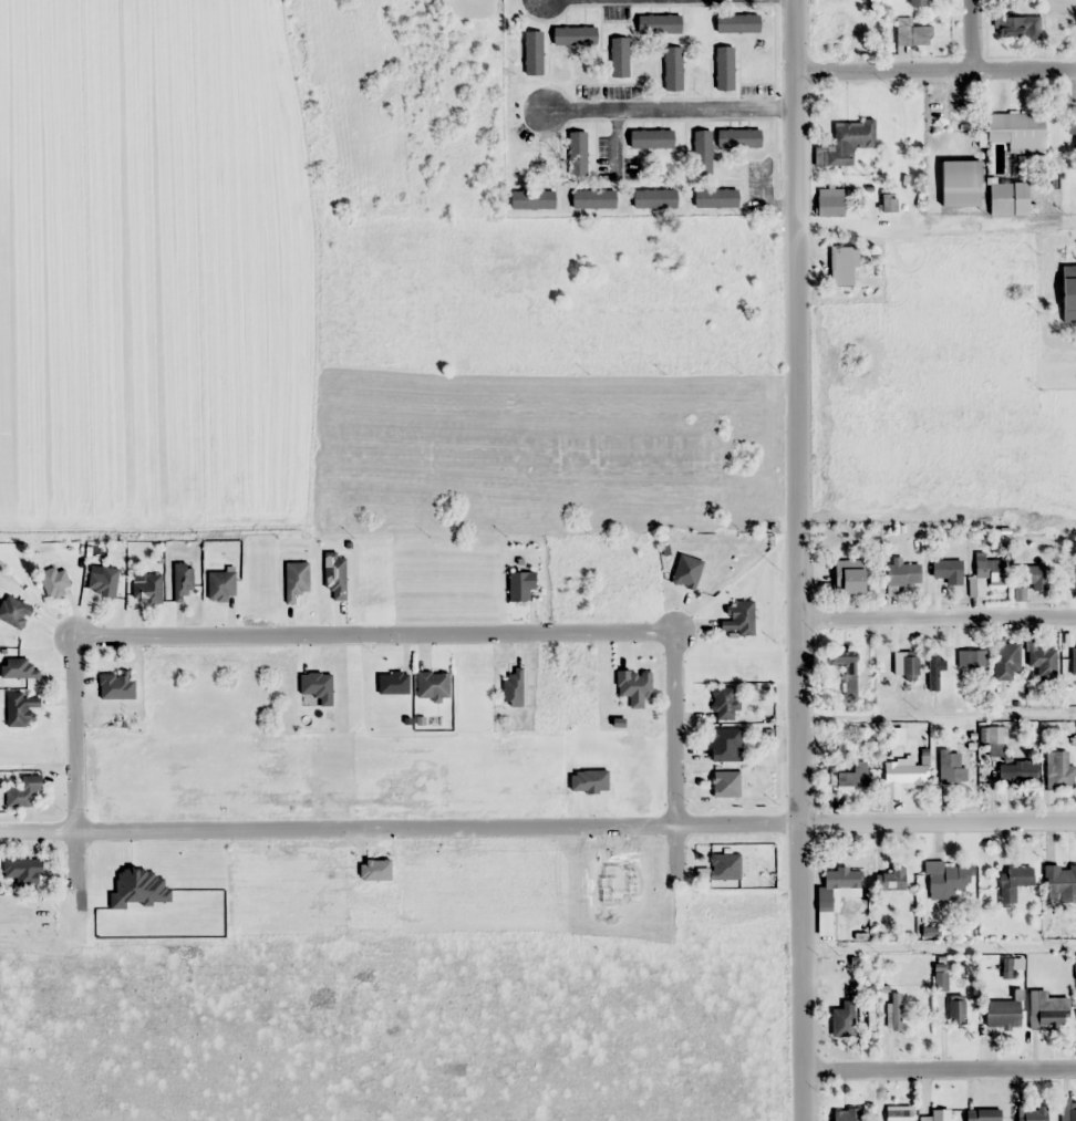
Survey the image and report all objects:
building: (918, 2)
building: (841, 17)
building: (1058, 21)
building: (738, 23)
building: (660, 24)
building: (1016, 25)
building: (910, 32)
building: (576, 35)
road: (972, 35)
building: (534, 52)
building: (620, 56)
building: (725, 68)
building: (674, 69)
road: (934, 71)
building: (1016, 131)
building: (1072, 134)
building: (739, 137)
building: (652, 139)
building: (844, 142)
building: (703, 150)
building: (578, 153)
building: (958, 181)
building: (1006, 197)
building: (655, 198)
building: (716, 198)
building: (534, 199)
building: (594, 199)
building: (828, 201)
building: (886, 201)
building: (839, 264)
building: (1067, 287)
road: (796, 560)
building: (1074, 561)
building: (989, 569)
building: (902, 570)
building: (946, 570)
building: (685, 571)
building: (335, 575)
building: (847, 575)
building: (1033, 575)
building: (297, 580)
building: (103, 581)
building: (183, 581)
building: (54, 582)
building: (221, 584)
building: (521, 585)
building: (148, 589)
building: (14, 612)
building: (738, 619)
road: (937, 619)
building: (970, 658)
building: (1070, 658)
building: (1041, 660)
building: (1006, 661)
building: (840, 662)
building: (903, 665)
building: (19, 670)
building: (394, 683)
building: (632, 683)
building: (116, 685)
building: (433, 685)
building: (514, 688)
building: (722, 703)
building: (20, 709)
building: (994, 735)
building: (723, 744)
building: (951, 766)
building: (1016, 770)
building: (1057, 770)
building: (903, 774)
building: (851, 777)
building: (724, 782)
building: (24, 793)
road: (937, 822)
building: (722, 865)
building: (24, 871)
building: (840, 879)
building: (890, 879)
building: (945, 880)
building: (1012, 881)
building: (1059, 882)
building: (1047, 1009)
building: (893, 1010)
building: (954, 1010)
building: (1001, 1014)
building: (840, 1017)
road: (938, 1070)
building: (1066, 1110)
building: (893, 1112)
building: (1032, 1113)
building: (845, 1114)
building: (981, 1114)
building: (935, 1115)

